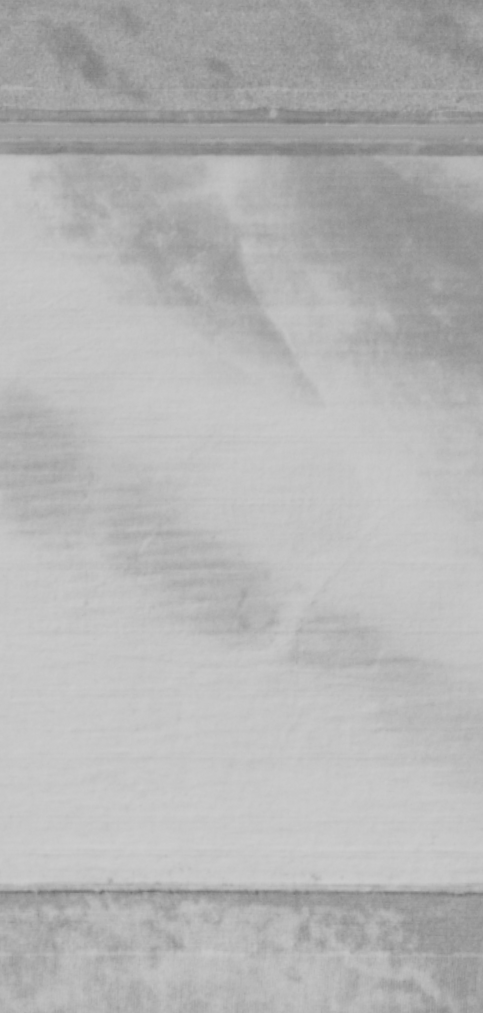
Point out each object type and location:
road: (241, 133)

